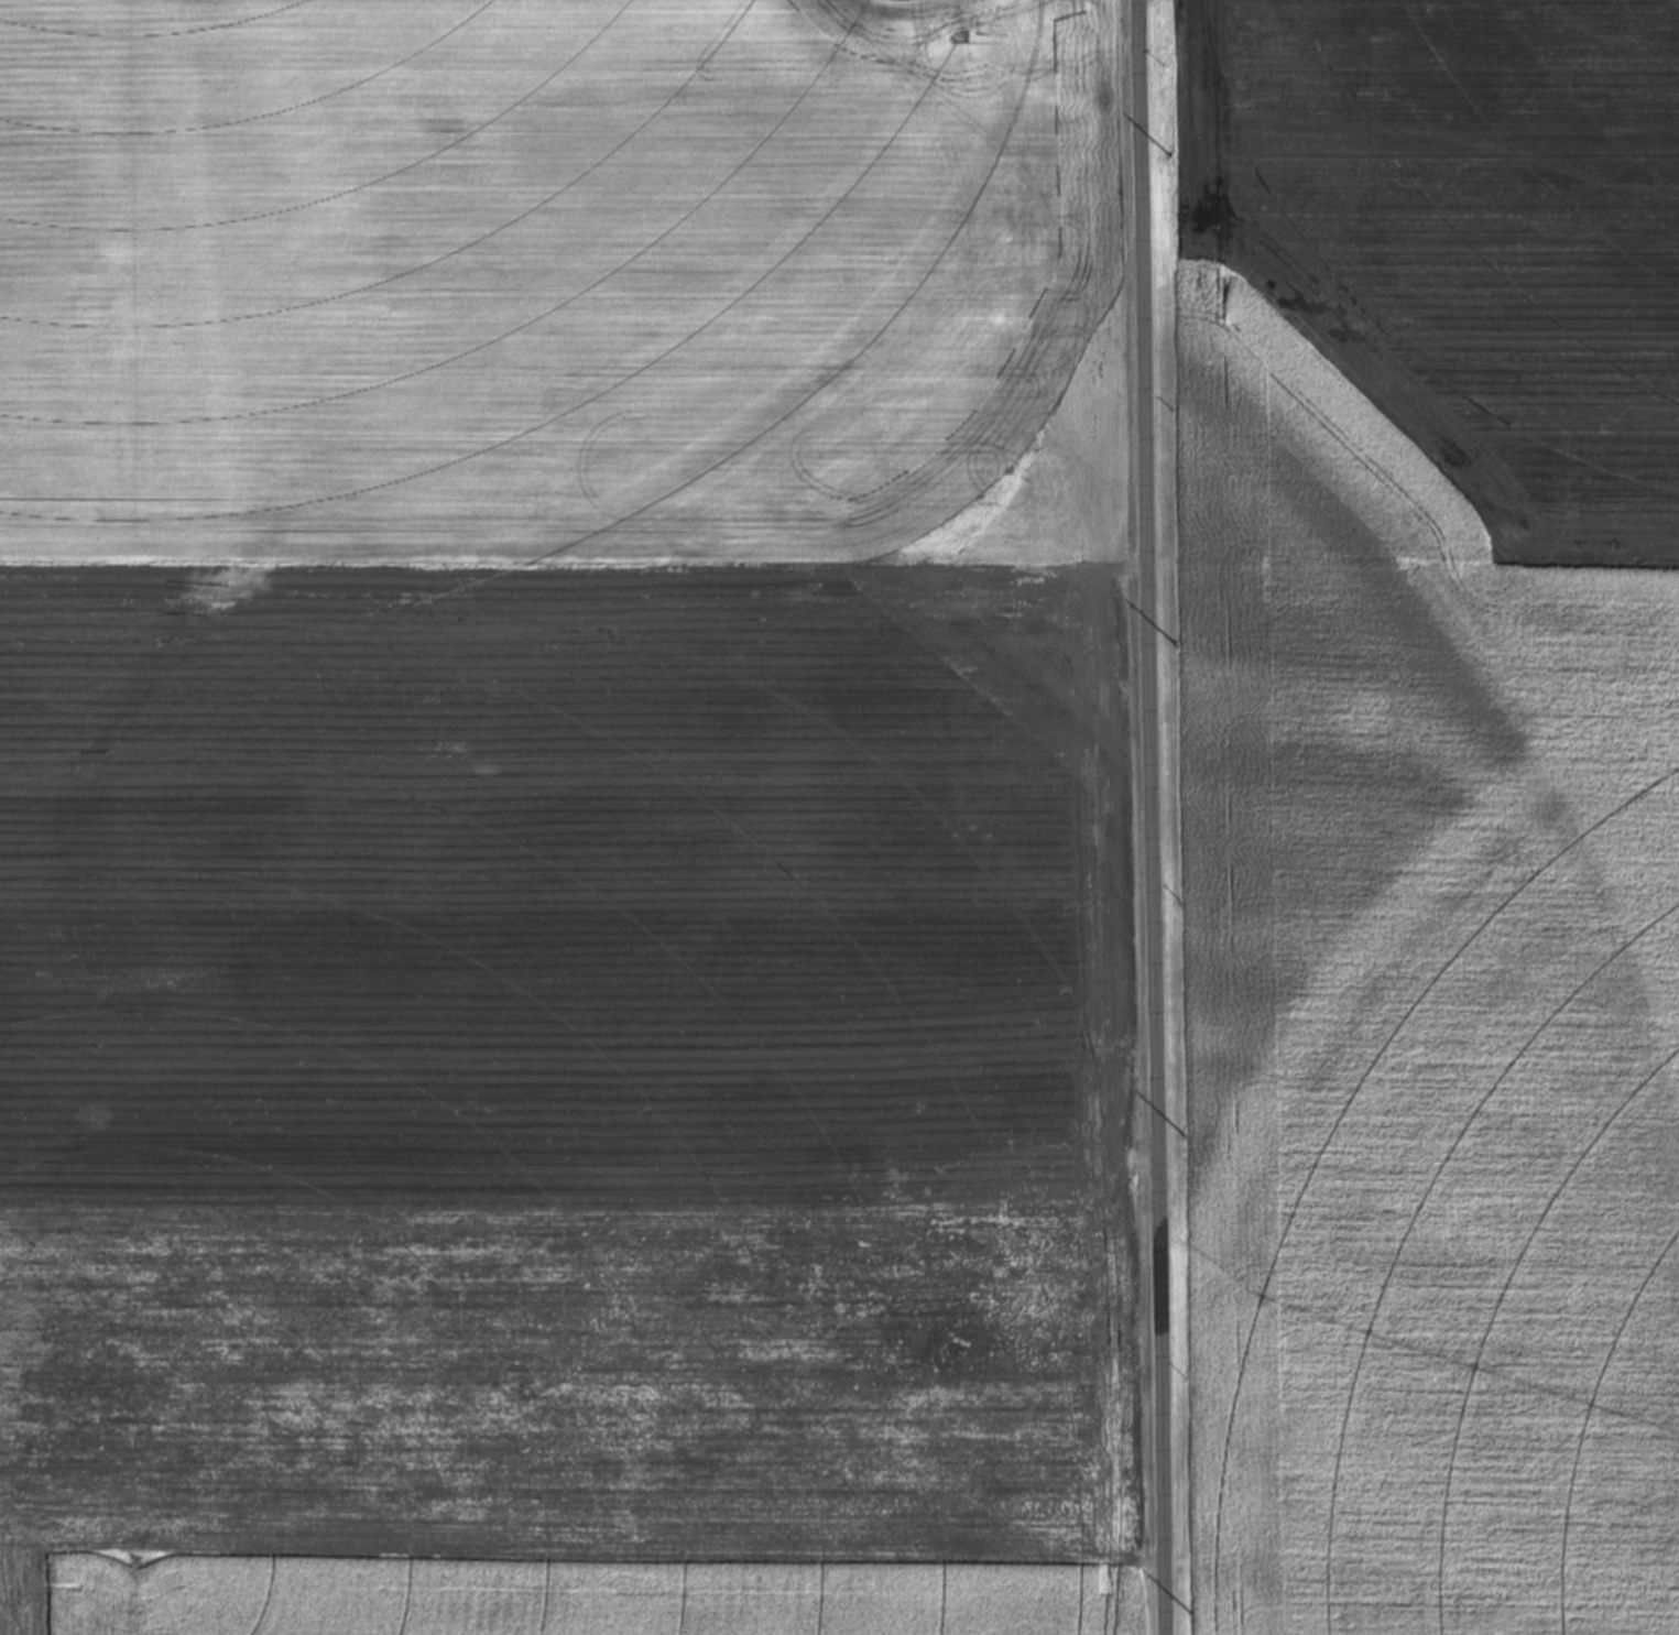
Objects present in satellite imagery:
power tower: (1175, 154)
power tower: (1181, 642)
road: (1148, 817)
power tower: (1187, 1135)
power tower: (1196, 1610)

